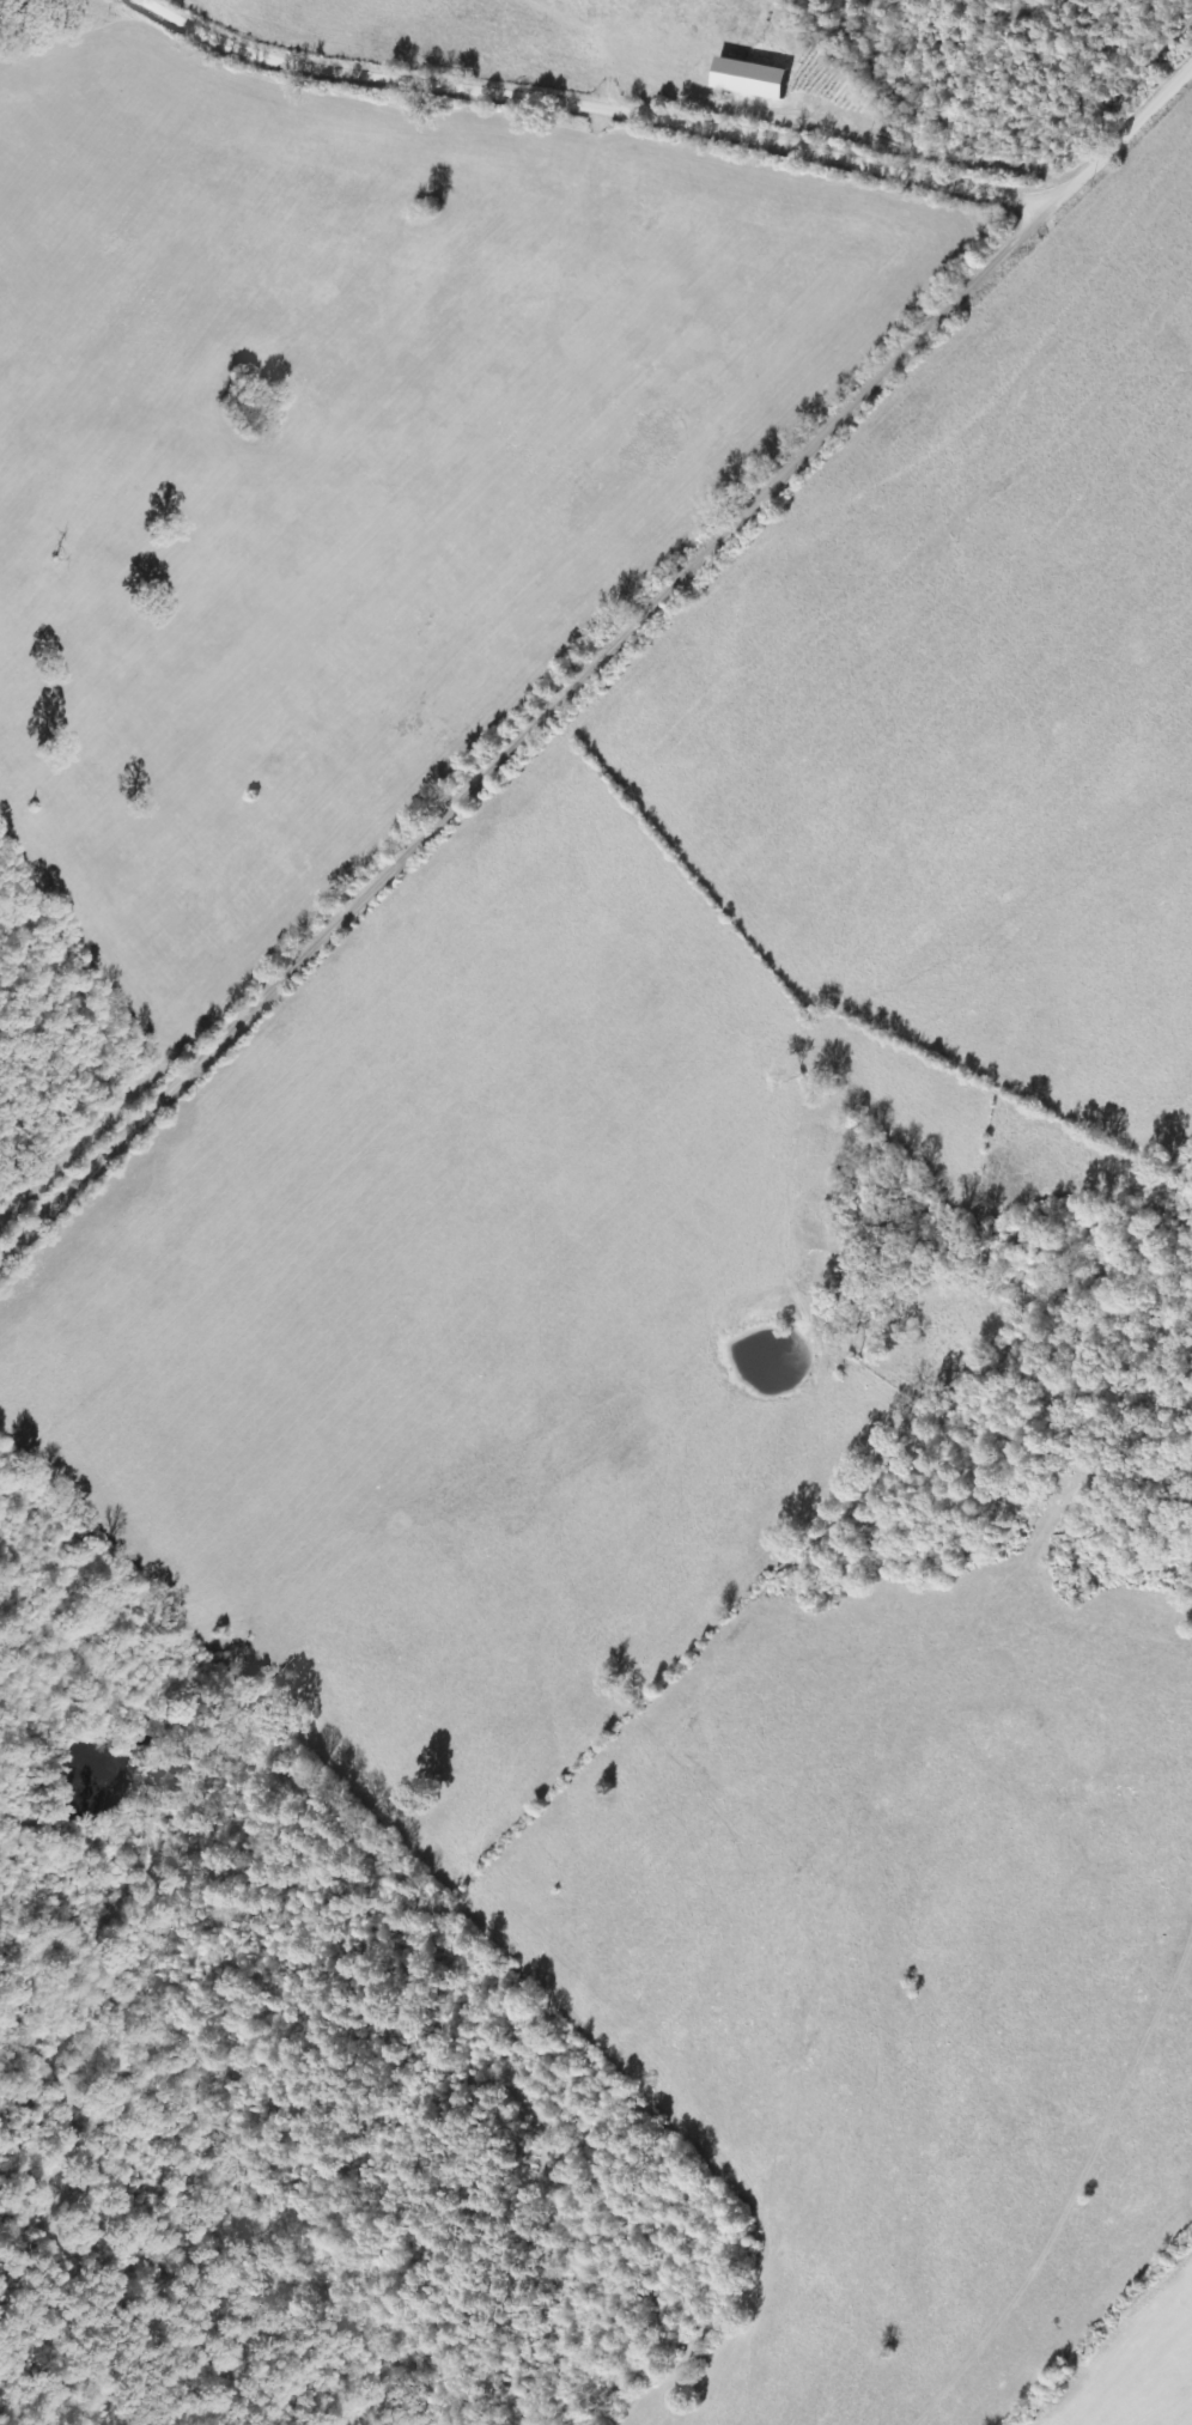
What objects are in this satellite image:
building: (748, 80)
road: (591, 110)
road: (1121, 135)
road: (525, 723)

